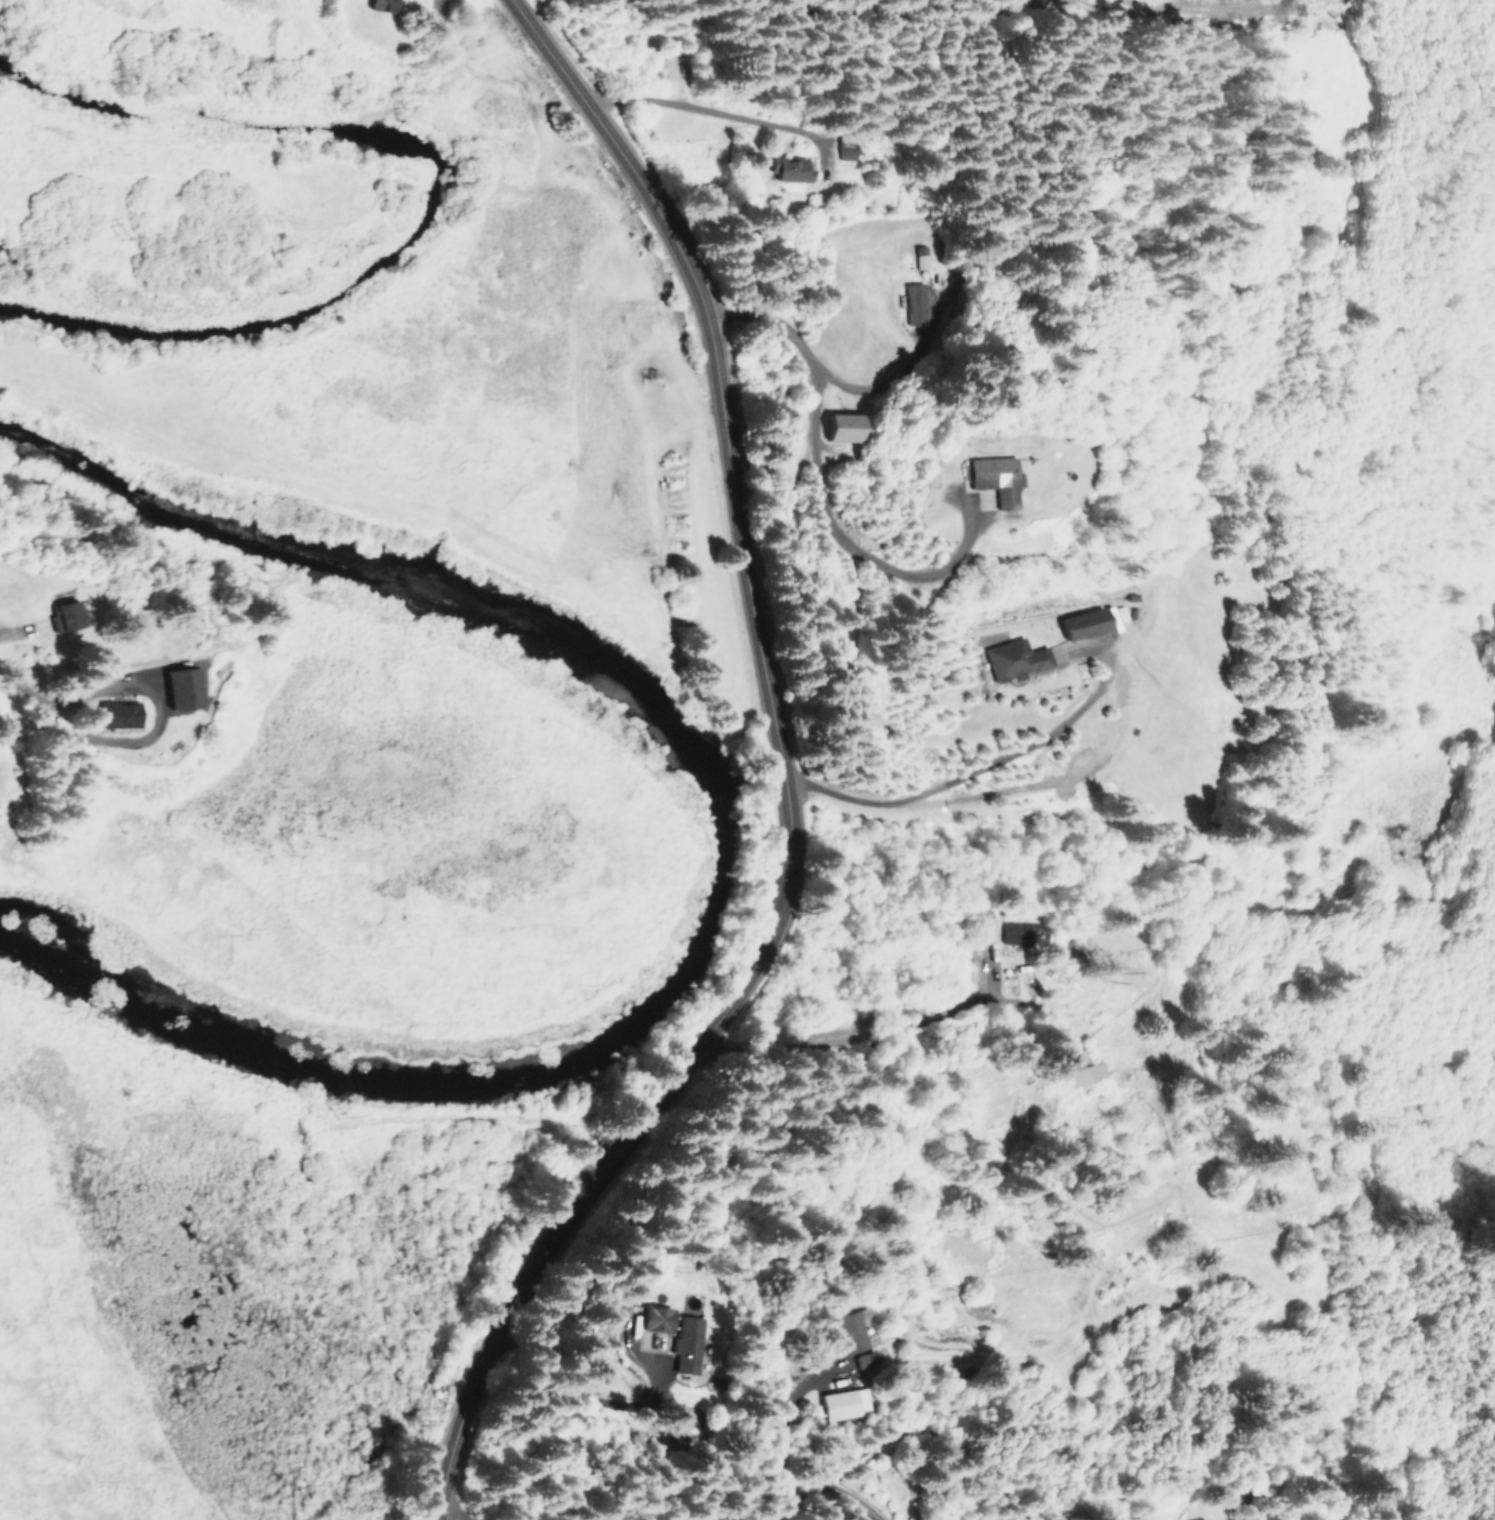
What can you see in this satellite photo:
building: (380, 5)
road: (705, 108)
building: (788, 168)
building: (914, 303)
building: (843, 426)
building: (993, 478)
building: (63, 612)
building: (1082, 623)
building: (1013, 659)
building: (179, 686)
building: (114, 713)
road: (969, 772)
road: (782, 778)
building: (985, 929)
building: (1016, 932)
road: (844, 1053)
building: (1084, 1068)
building: (652, 1318)
building: (853, 1337)
building: (685, 1344)
building: (842, 1403)
building: (1312, 1518)

